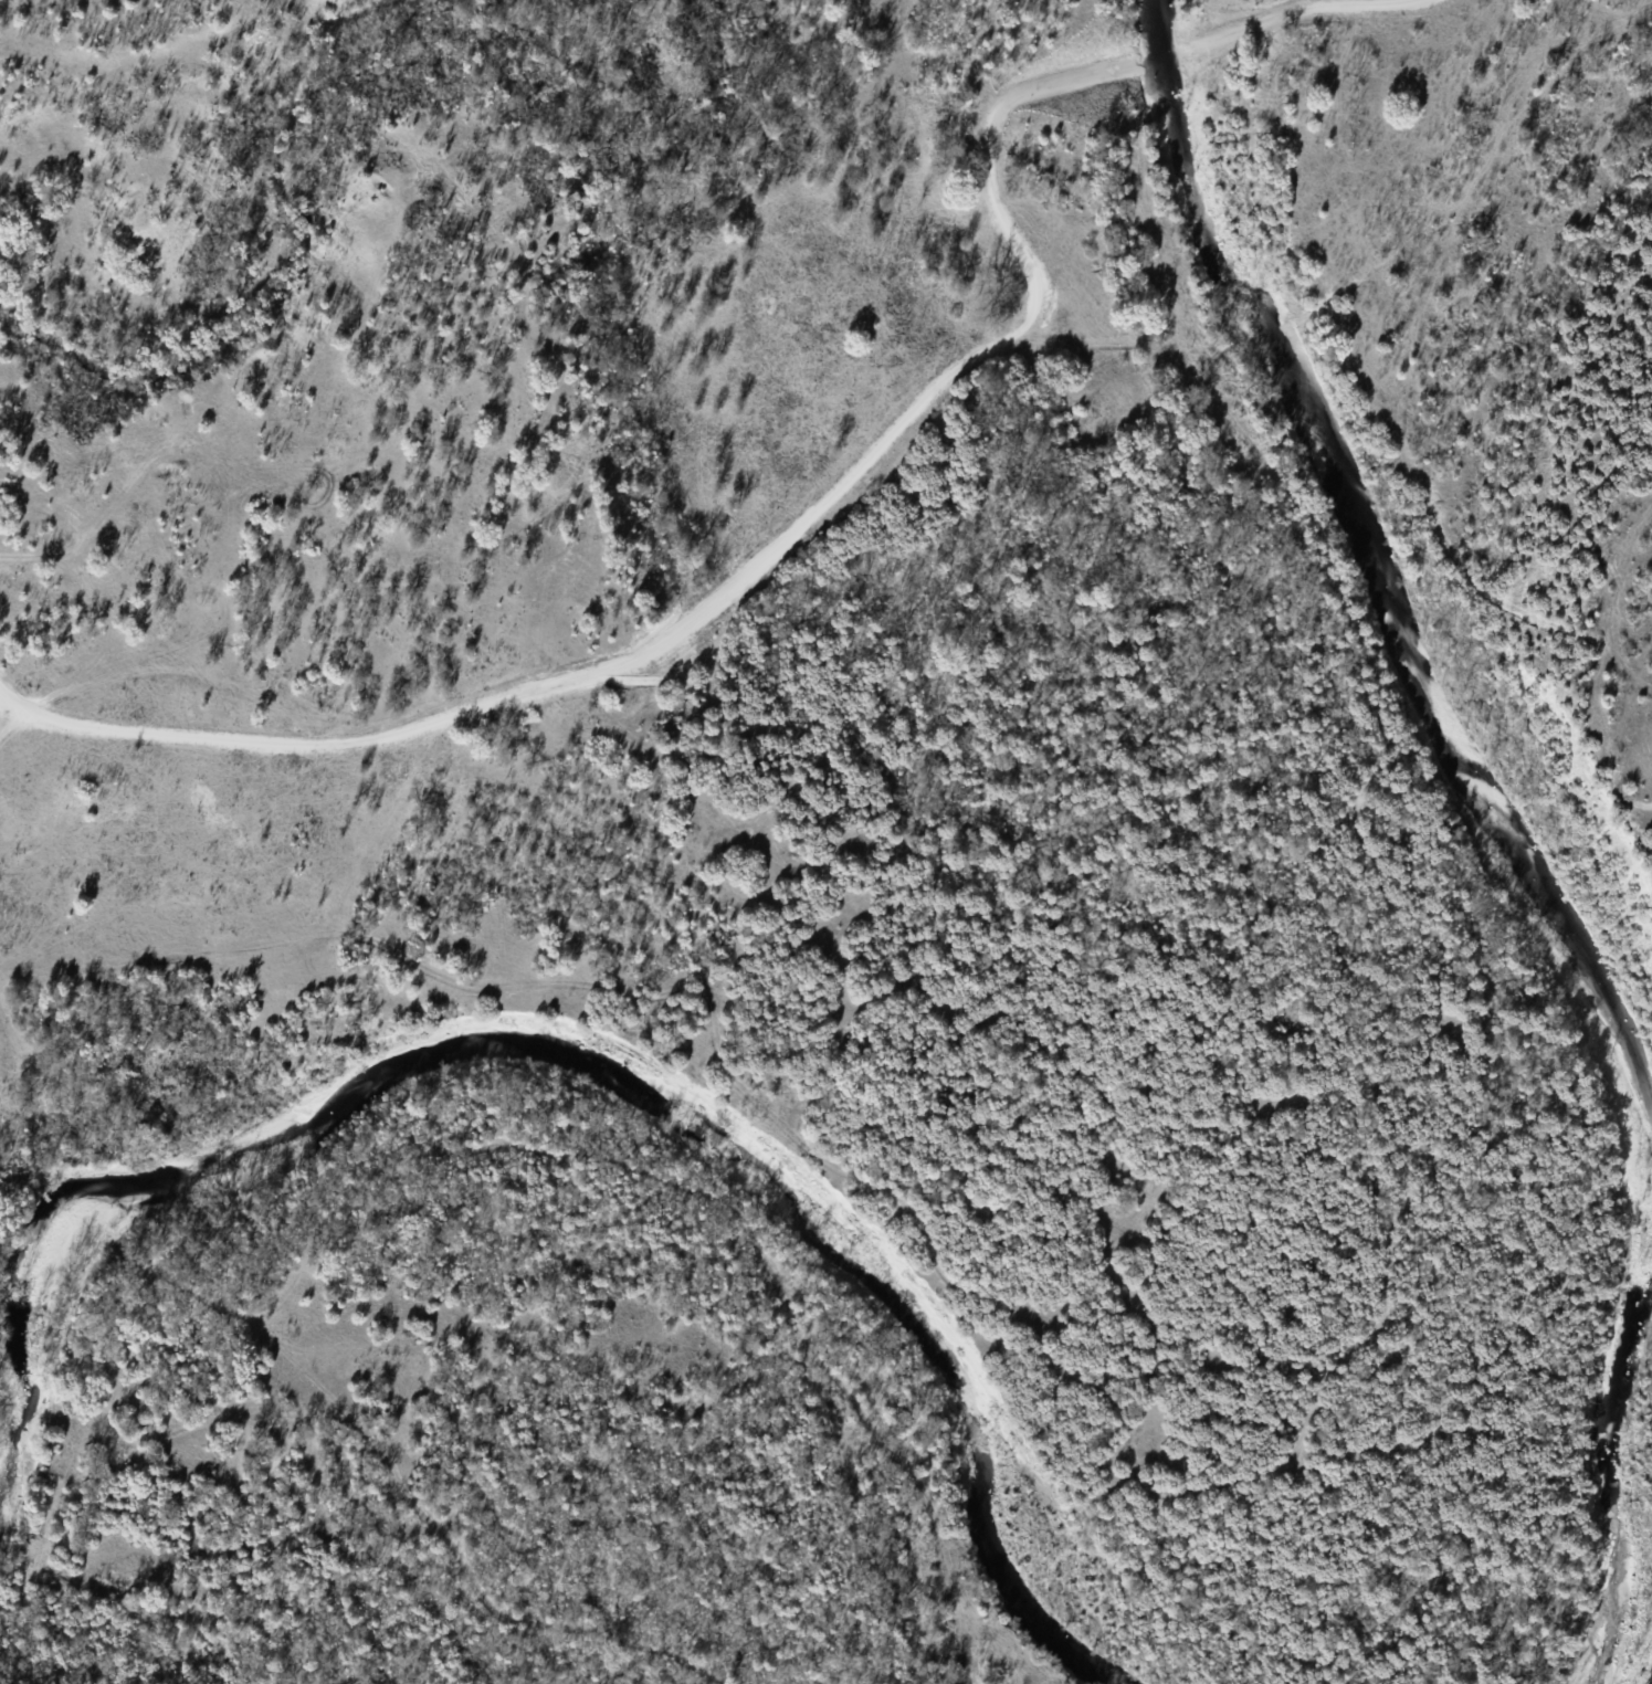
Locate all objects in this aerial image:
road: (1002, 90)

